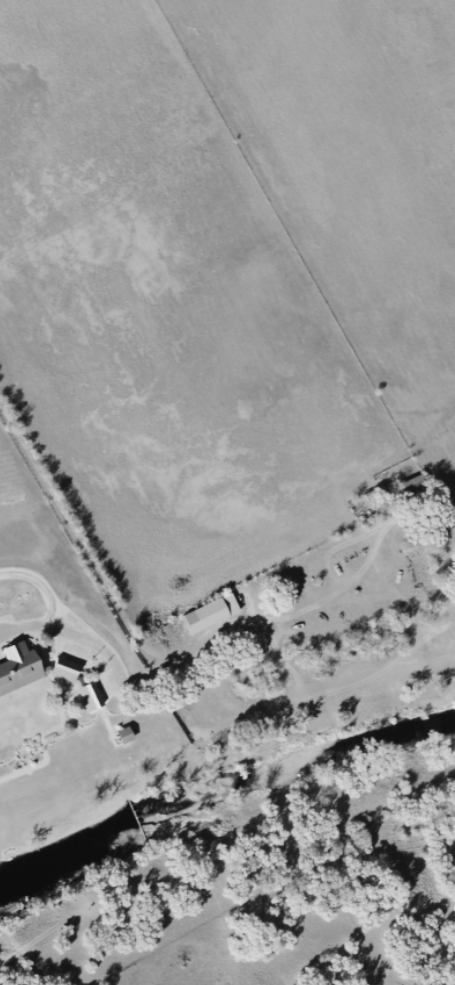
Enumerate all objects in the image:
building: (414, 490)
road: (58, 606)
building: (212, 613)
building: (47, 679)

